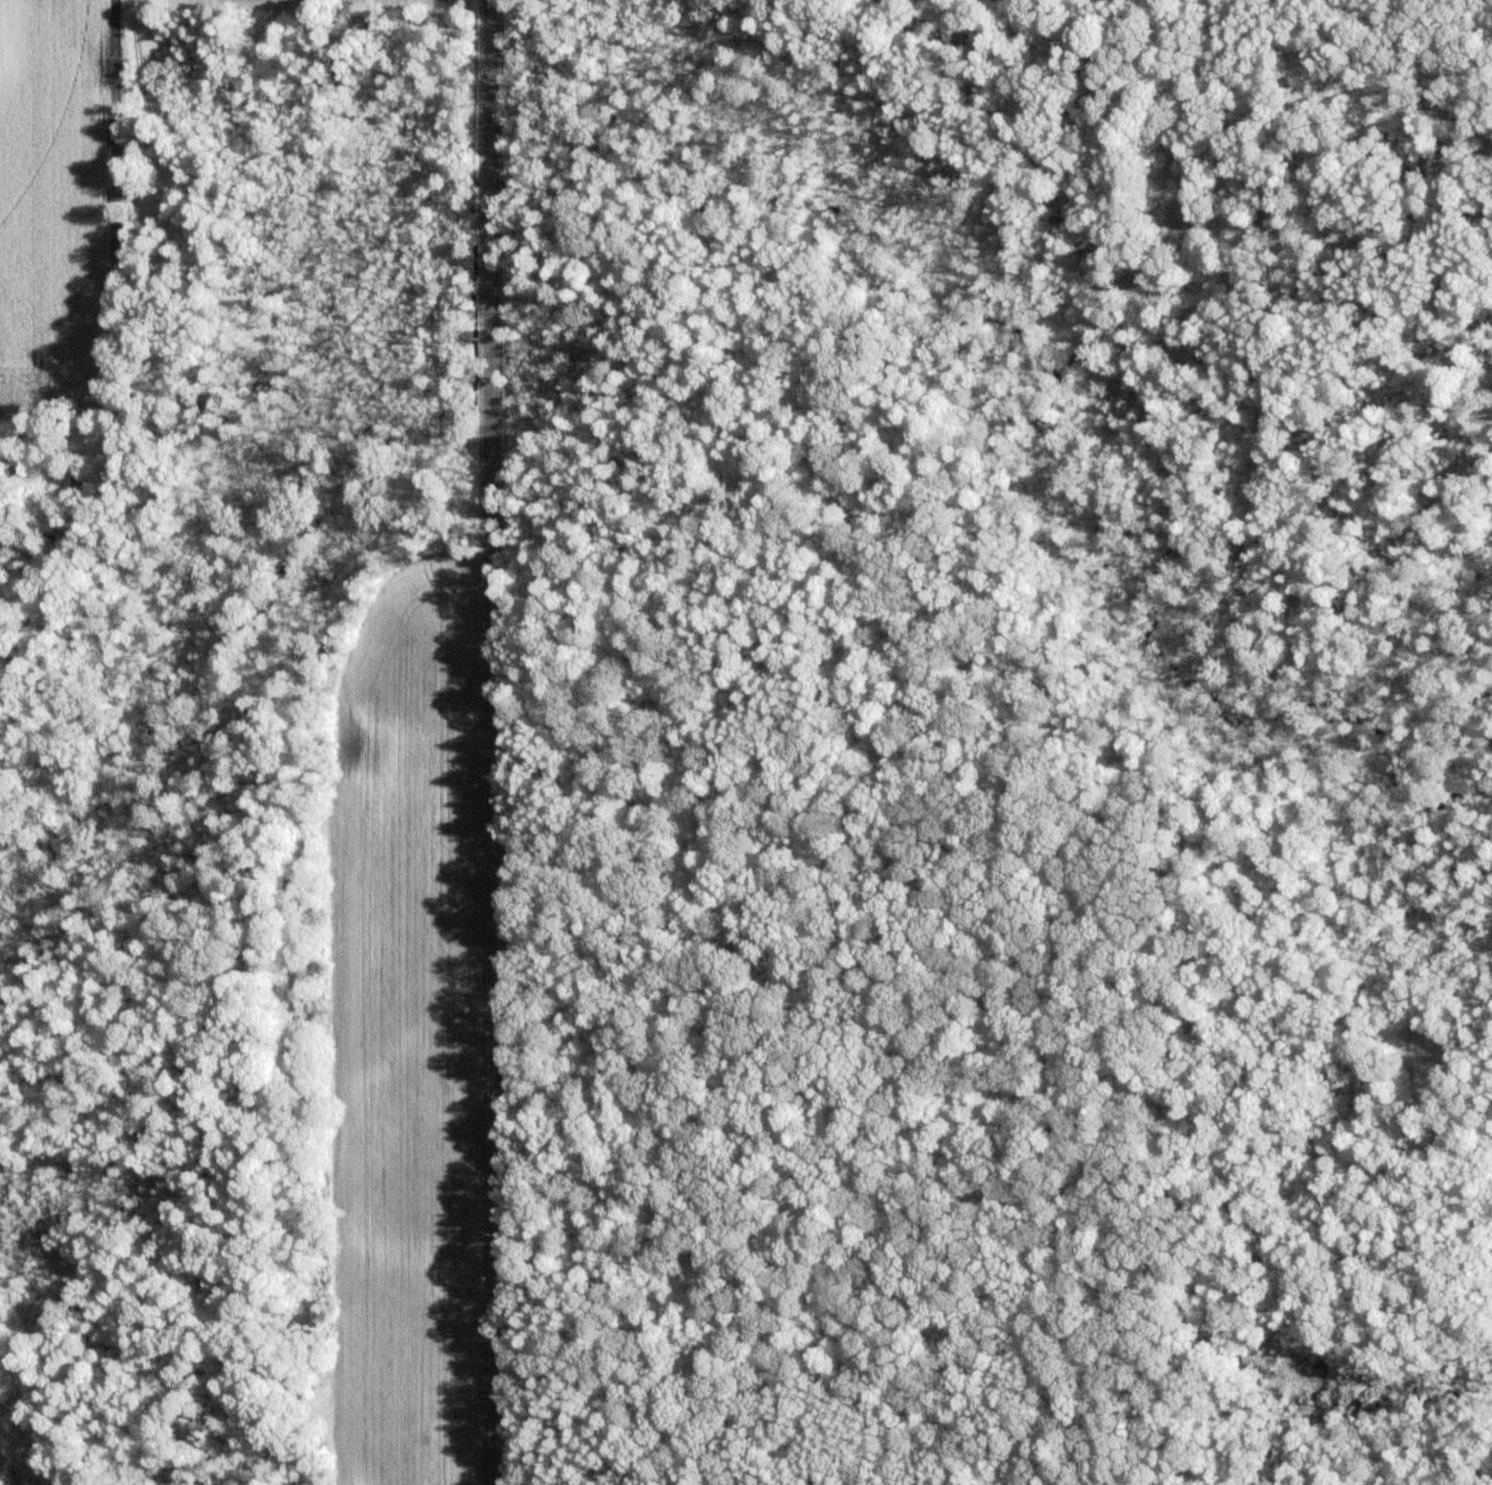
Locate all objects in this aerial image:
road: (1256, 206)
road: (478, 742)
road: (984, 1468)
road: (659, 1483)

